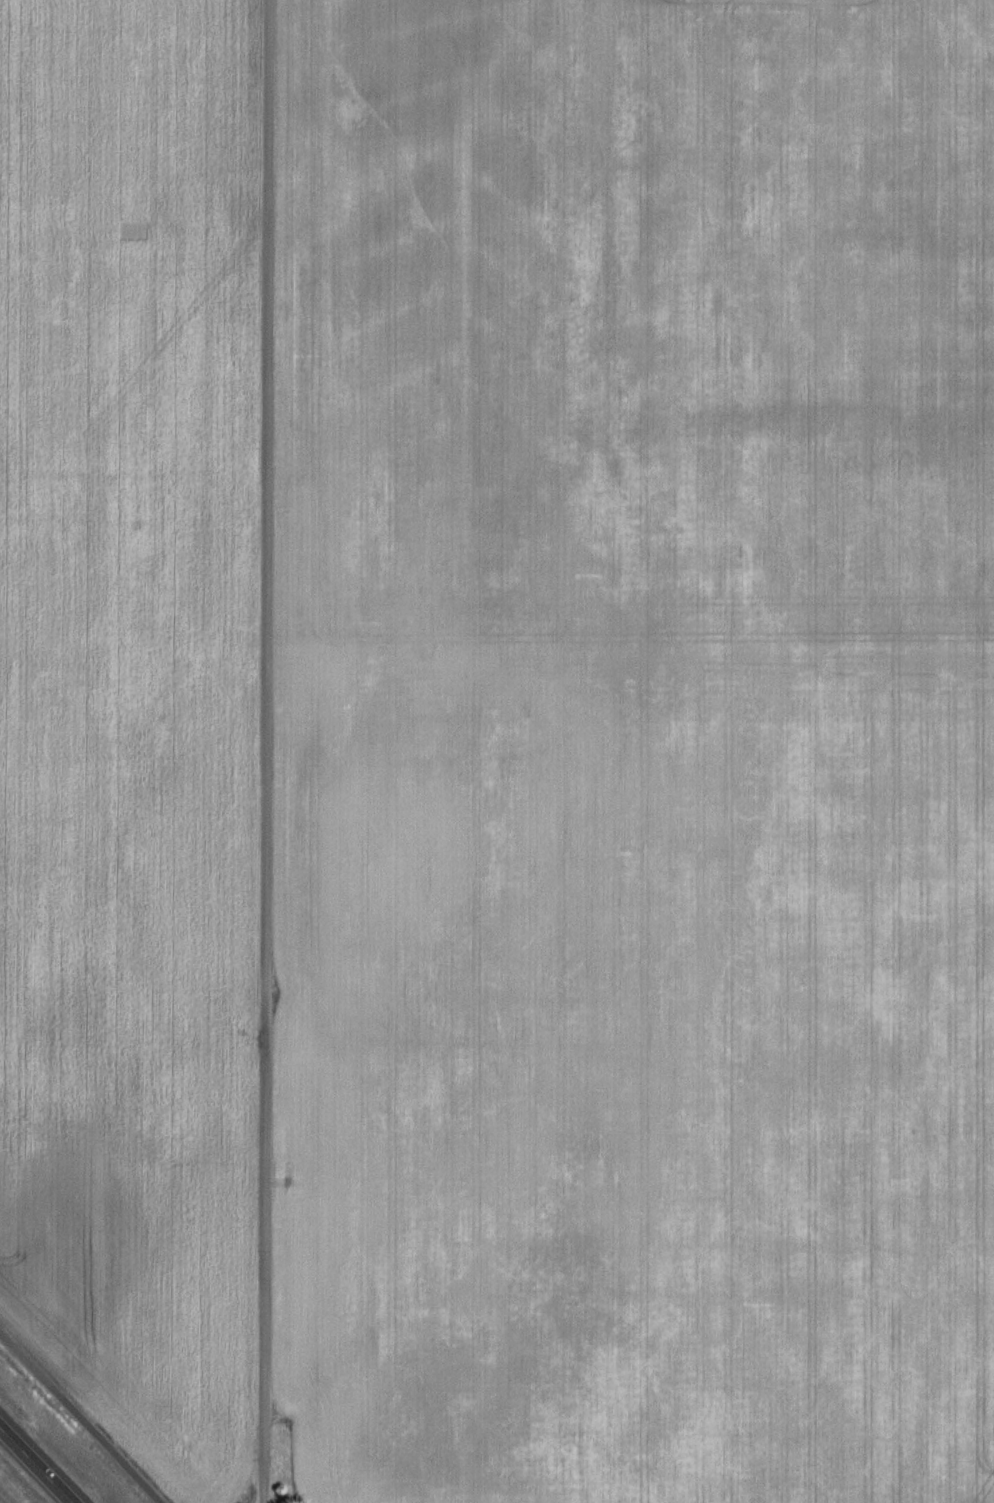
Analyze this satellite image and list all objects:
road: (268, 751)
road: (80, 1416)
road: (37, 1463)

